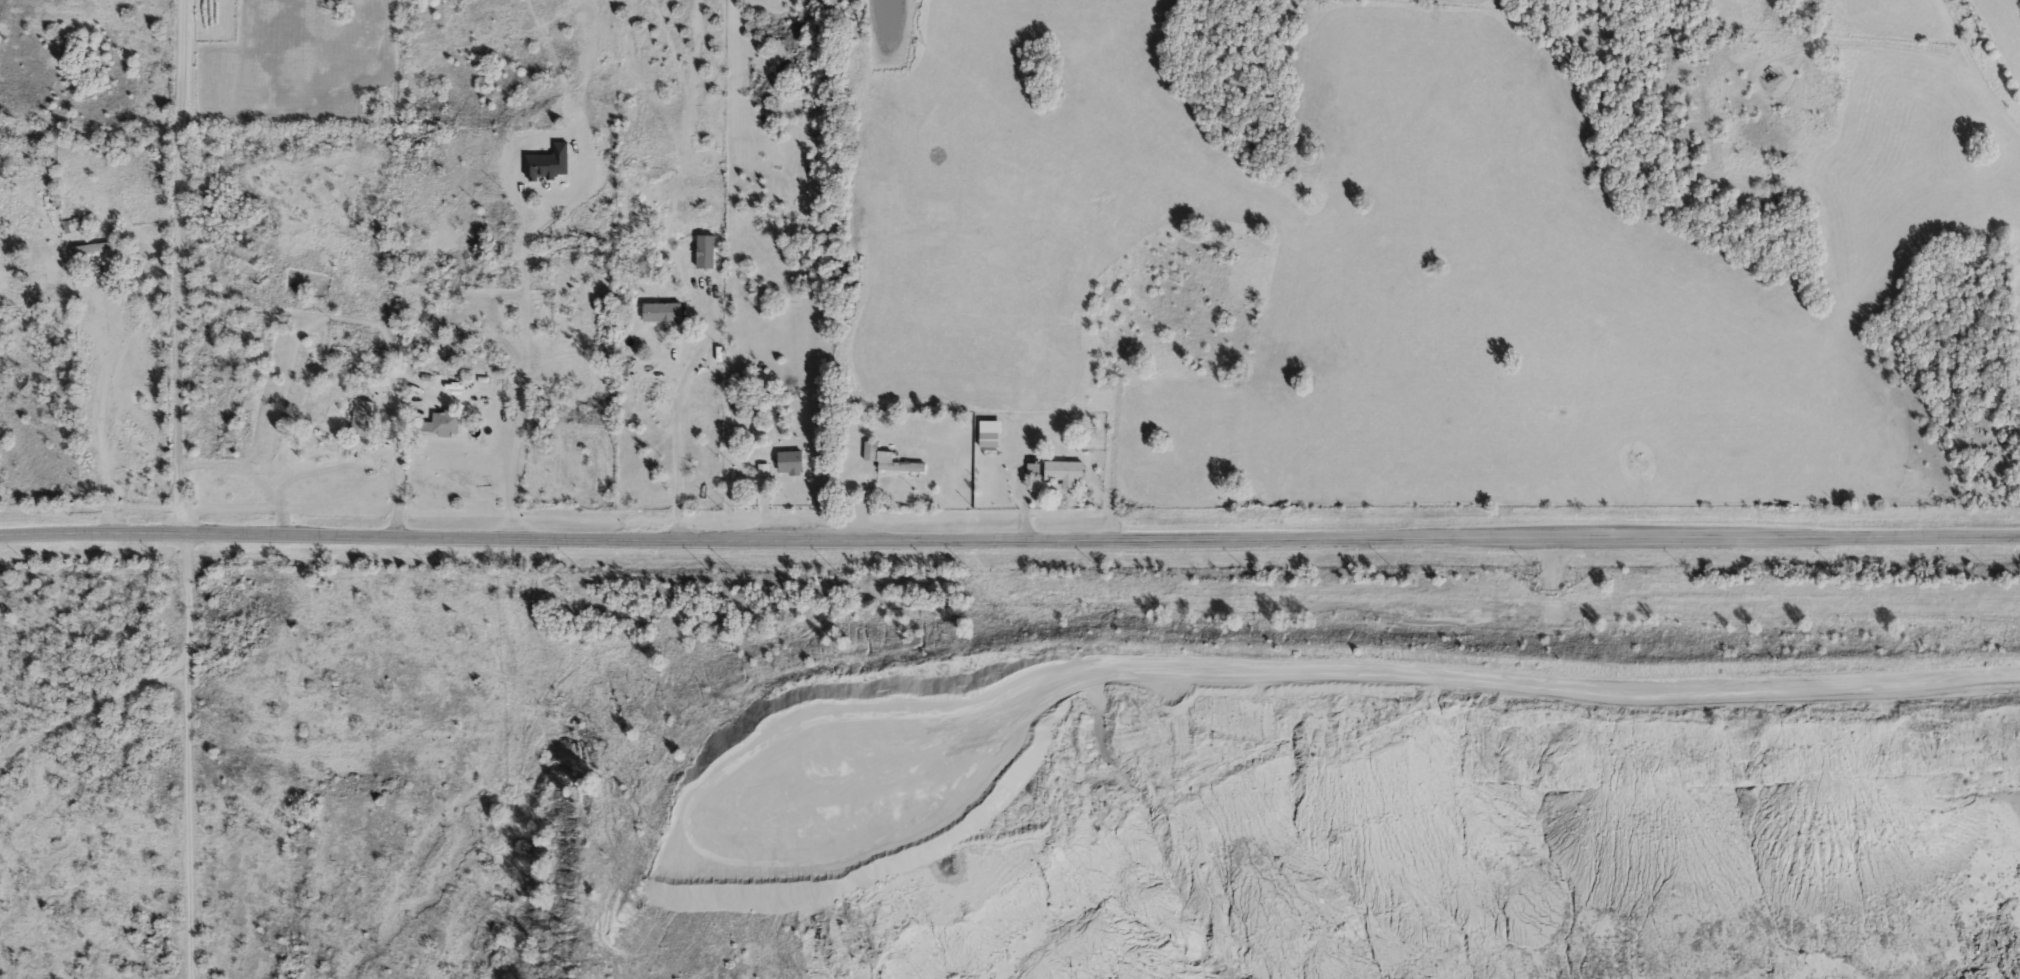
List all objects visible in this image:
road: (1975, 64)
building: (93, 247)
road: (160, 288)
building: (665, 319)
building: (356, 350)
building: (363, 416)
building: (443, 423)
building: (990, 438)
road: (679, 449)
building: (871, 449)
road: (397, 458)
building: (793, 462)
building: (900, 465)
building: (1033, 470)
building: (1064, 471)
road: (1009, 542)
road: (179, 757)
quarry: (1290, 793)

